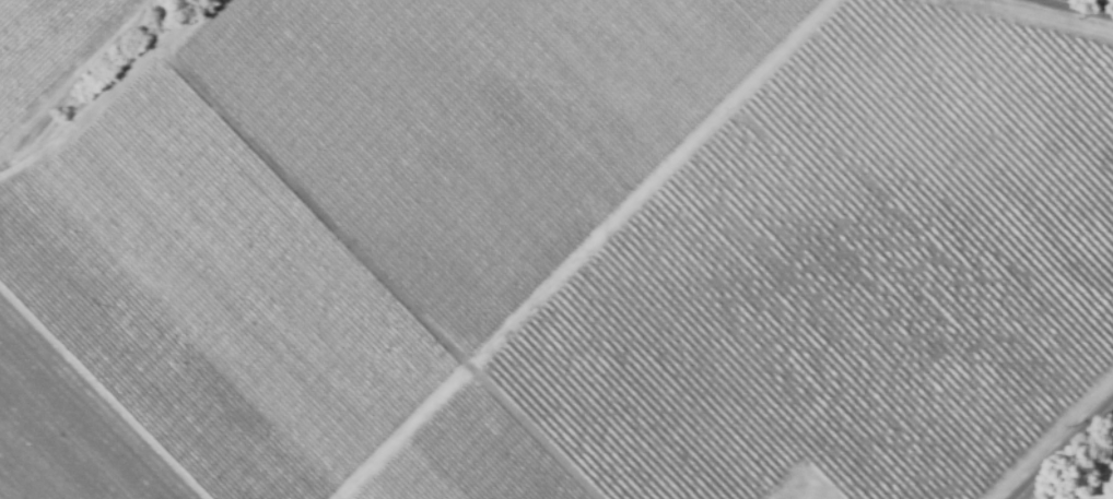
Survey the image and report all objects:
road: (1085, 5)
road: (1066, 452)

